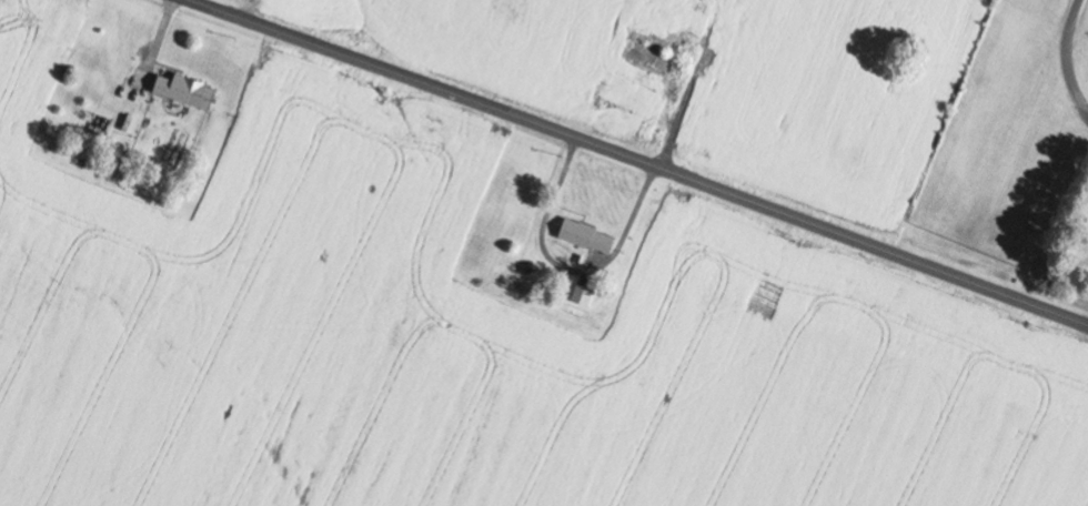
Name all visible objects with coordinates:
road: (1061, 22)
road: (641, 161)

